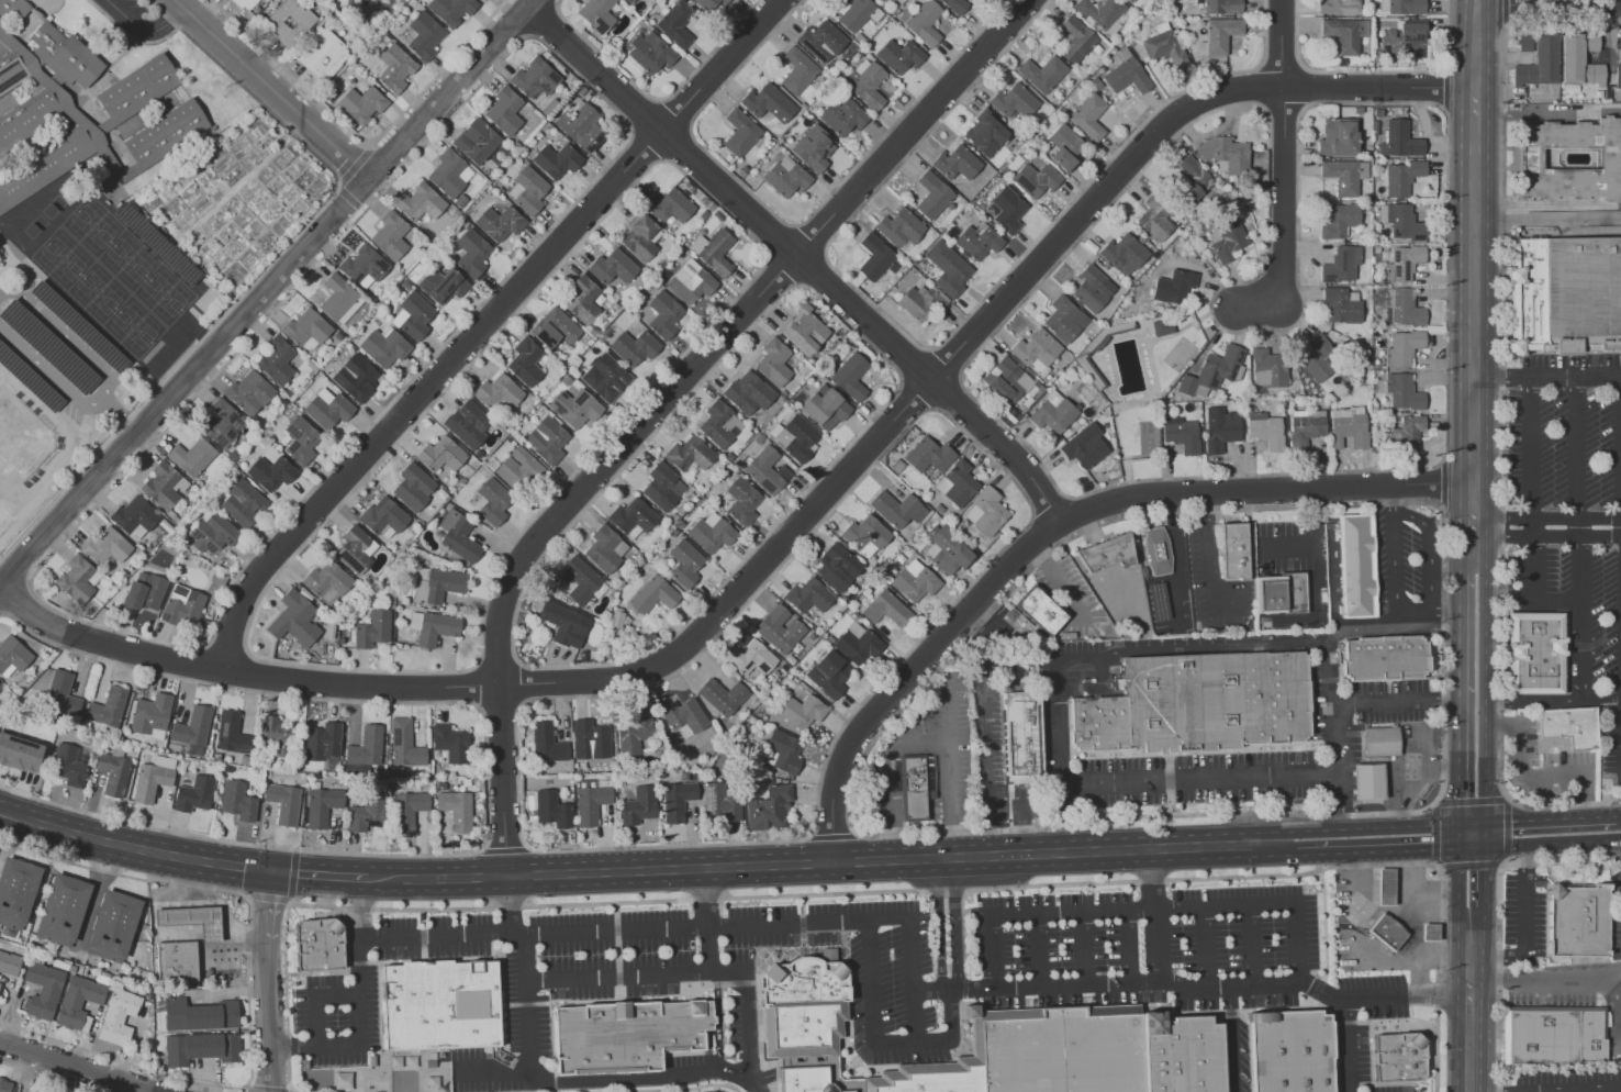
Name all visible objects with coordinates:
building: (1130, 0)
building: (629, 1)
building: (246, 3)
building: (712, 3)
road: (1551, 3)
building: (954, 5)
building: (1221, 5)
building: (1338, 7)
building: (1400, 7)
building: (451, 10)
road: (558, 10)
building: (857, 13)
building: (1102, 13)
building: (599, 14)
road: (545, 22)
building: (924, 22)
building: (677, 23)
building: (303, 25)
road: (143, 29)
road: (532, 34)
building: (1220, 34)
building: (1344, 34)
building: (425, 36)
building: (1402, 38)
building: (1075, 40)
building: (821, 41)
building: (1620, 41)
building: (1523, 42)
building: (1591, 42)
road: (1287, 44)
building: (1164, 46)
building: (652, 53)
building: (323, 54)
building: (898, 55)
building: (1538, 63)
building: (1577, 63)
building: (394, 67)
building: (796, 70)
road: (1374, 71)
building: (1041, 73)
building: (1125, 73)
building: (1618, 73)
road: (580, 77)
building: (536, 78)
building: (865, 83)
road: (269, 89)
building: (582, 90)
road: (657, 99)
building: (1013, 100)
building: (768, 102)
building: (362, 103)
building: (45, 110)
building: (506, 110)
road: (1564, 113)
road: (1494, 114)
building: (841, 116)
building: (1088, 116)
building: (582, 127)
building: (739, 132)
building: (984, 133)
building: (1337, 137)
road: (362, 140)
building: (1399, 140)
building: (478, 141)
road: (371, 144)
building: (1062, 146)
building: (813, 148)
building: (1225, 154)
building: (558, 158)
building: (955, 163)
building: (1568, 164)
road: (355, 165)
building: (450, 172)
building: (1344, 175)
building: (785, 177)
building: (1401, 177)
building: (1189, 178)
building: (1035, 179)
road: (338, 183)
road: (338, 187)
building: (528, 190)
building: (931, 194)
road: (349, 197)
building: (461, 201)
building: (422, 202)
road: (1551, 204)
building: (671, 205)
road: (362, 209)
building: (1006, 210)
building: (457, 212)
building: (1154, 218)
road: (1550, 218)
road: (1288, 220)
building: (1339, 220)
building: (501, 222)
building: (1401, 222)
park: (93, 225)
building: (155, 225)
building: (899, 227)
building: (166, 235)
building: (392, 235)
building: (639, 237)
building: (1227, 239)
building: (977, 241)
building: (713, 250)
building: (472, 252)
road: (803, 252)
building: (1122, 254)
park: (63, 257)
building: (874, 257)
building: (0, 258)
park: (128, 259)
building: (1402, 263)
building: (1341, 264)
building: (365, 266)
building: (612, 266)
building: (947, 268)
road: (259, 275)
building: (690, 281)
building: (407, 285)
building: (445, 285)
building: (1173, 286)
road: (1478, 287)
building: (1092, 289)
park: (99, 291)
road: (265, 292)
park: (165, 293)
building: (1564, 294)
building: (340, 299)
building: (582, 299)
building: (920, 302)
building: (1341, 304)
building: (1402, 307)
building: (662, 314)
building: (414, 315)
building: (1064, 319)
park: (134, 325)
road: (487, 325)
building: (1162, 326)
building: (554, 327)
building: (308, 328)
road: (741, 330)
building: (803, 330)
building: (385, 346)
building: (634, 347)
building: (1402, 347)
building: (1037, 350)
parking lot: (56, 352)
building: (1317, 358)
building: (277, 360)
building: (525, 361)
building: (773, 361)
building: (1267, 368)
building: (1212, 371)
building: (850, 376)
building: (358, 377)
building: (605, 377)
road: (1549, 378)
building: (1006, 380)
road: (107, 387)
building: (498, 391)
building: (1402, 391)
building: (250, 392)
building: (747, 393)
building: (574, 408)
building: (825, 409)
building: (329, 410)
building: (1052, 413)
road: (1500, 414)
road: (124, 417)
building: (220, 423)
building: (468, 423)
building: (719, 425)
building: (1348, 426)
building: (1304, 427)
building: (1219, 428)
building: (1264, 430)
building: (1405, 432)
building: (1181, 434)
building: (795, 437)
building: (302, 439)
building: (546, 439)
park: (20, 441)
building: (1084, 446)
building: (440, 454)
building: (689, 454)
building: (928, 455)
building: (192, 456)
road: (991, 456)
building: (515, 467)
building: (767, 470)
building: (272, 472)
road: (1442, 482)
building: (957, 483)
building: (413, 486)
building: (662, 486)
building: (166, 488)
road: (1391, 500)
building: (491, 501)
building: (741, 501)
building: (244, 502)
building: (896, 509)
building: (985, 511)
road: (1531, 513)
parking lot: (1573, 513)
building: (136, 516)
building: (383, 517)
building: (633, 517)
road: (1549, 517)
road: (1054, 519)
building: (167, 525)
building: (711, 532)
building: (213, 533)
building: (457, 535)
road: (795, 535)
building: (864, 535)
road: (1549, 536)
road: (1581, 537)
building: (108, 547)
building: (605, 548)
building: (355, 549)
building: (946, 549)
road: (1206, 549)
building: (1156, 550)
building: (1233, 550)
building: (1105, 553)
building: (684, 562)
road: (1444, 564)
building: (837, 566)
building: (1355, 566)
road: (1059, 577)
building: (78, 579)
building: (914, 580)
building: (326, 582)
road: (27, 584)
building: (420, 584)
building: (444, 584)
building: (146, 591)
building: (1279, 592)
building: (652, 594)
building: (807, 595)
road: (15, 599)
building: (183, 605)
building: (885, 609)
road: (1424, 609)
road: (1452, 610)
building: (1039, 611)
road: (1, 612)
building: (294, 619)
road: (1362, 621)
building: (563, 623)
building: (433, 626)
building: (372, 628)
building: (779, 628)
building: (857, 643)
road: (1264, 645)
building: (13, 655)
building: (1543, 656)
building: (750, 658)
building: (1391, 664)
building: (828, 673)
road: (1326, 678)
building: (0, 687)
road: (948, 692)
building: (63, 693)
building: (722, 695)
road: (1601, 697)
road: (1529, 699)
road: (1475, 702)
building: (107, 706)
building: (801, 711)
building: (1201, 711)
building: (149, 715)
building: (683, 716)
building: (192, 726)
building: (231, 733)
building: (631, 733)
building: (1570, 733)
building: (276, 735)
building: (1024, 738)
building: (590, 739)
building: (321, 740)
road: (916, 740)
building: (1379, 740)
building: (547, 742)
building: (450, 743)
building: (403, 744)
building: (364, 750)
building: (784, 750)
building: (19, 753)
road: (1398, 762)
road: (985, 764)
building: (68, 765)
building: (112, 773)
road: (1532, 775)
road: (487, 777)
building: (152, 778)
road: (1239, 779)
road: (504, 780)
building: (1367, 781)
building: (925, 791)
building: (193, 794)
building: (675, 800)
building: (237, 801)
building: (282, 802)
building: (719, 803)
building: (590, 804)
building: (638, 805)
building: (321, 806)
building: (769, 807)
road: (1340, 807)
building: (456, 809)
building: (550, 809)
building: (409, 810)
building: (367, 813)
road: (13, 814)
road: (1619, 826)
road: (1545, 828)
traffic signals: (1474, 832)
road: (830, 835)
road: (1385, 836)
road: (505, 847)
road: (147, 851)
road: (1503, 858)
road: (832, 863)
traffic signals: (272, 874)
road: (1273, 874)
road: (320, 876)
building: (1385, 887)
building: (16, 891)
road: (290, 895)
road: (1410, 896)
road: (511, 904)
road: (1386, 909)
building: (64, 910)
road: (1148, 910)
road: (1155, 915)
road: (1500, 917)
road: (707, 920)
building: (194, 921)
road: (1323, 923)
building: (113, 925)
road: (939, 925)
road: (955, 925)
building: (1584, 925)
road: (697, 927)
building: (1387, 932)
building: (1429, 932)
gas station: (197, 937)
road: (1251, 945)
road: (1420, 946)
building: (325, 947)
road: (1129, 947)
road: (1205, 947)
road: (1366, 947)
parking lot: (920, 949)
road: (1084, 949)
road: (1038, 950)
building: (178, 961)
road: (1472, 961)
building: (10, 963)
building: (72, 969)
building: (81, 970)
road: (697, 972)
road: (1547, 978)
road: (268, 982)
building: (0, 984)
road: (965, 987)
building: (43, 988)
road: (1194, 988)
road: (1317, 989)
road: (248, 991)
road: (284, 998)
road: (316, 1000)
building: (81, 1001)
road: (527, 1002)
road: (358, 1005)
road: (1614, 1006)
building: (444, 1007)
building: (201, 1015)
building: (120, 1016)
road: (719, 1022)
building: (1559, 1033)
building: (633, 1036)
road: (1232, 1039)
road: (879, 1043)
building: (995, 1046)
road: (1346, 1046)
building: (202, 1048)
building: (1288, 1051)
building: (1400, 1057)
road: (77, 1067)
road: (46, 1077)
building: (343, 1080)
road: (602, 1080)
building: (5, 1085)
road: (270, 1088)
road: (248, 1089)
road: (677, 1089)
road: (1590, 1090)
road: (1473, 1091)

